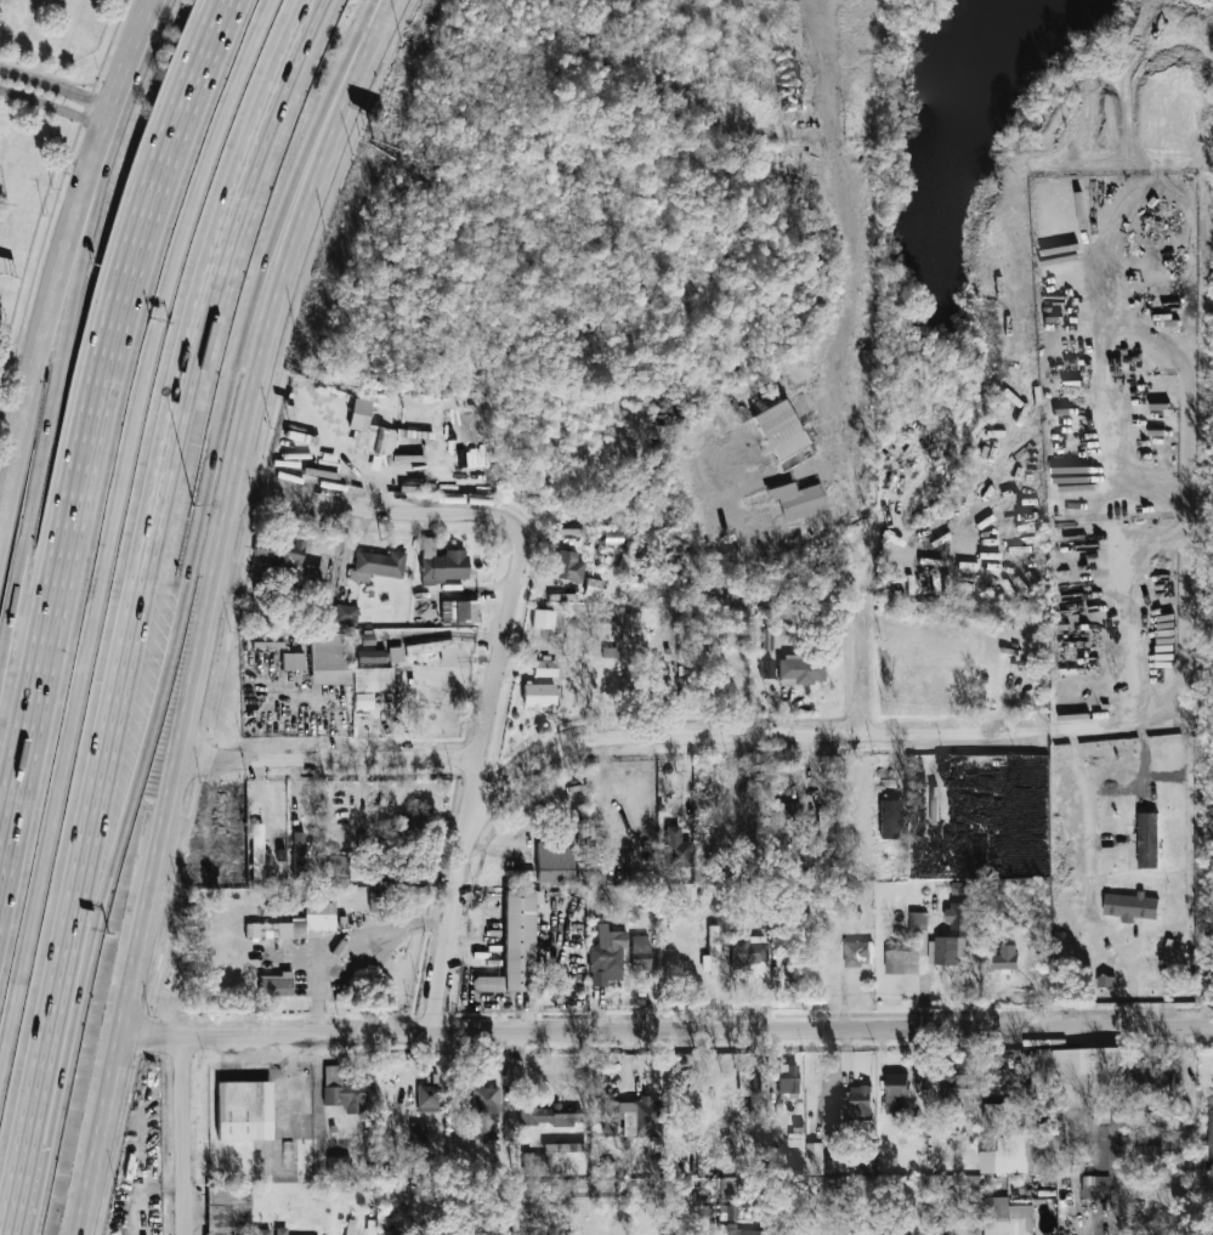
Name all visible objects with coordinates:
parking lot: (0, 4)
road: (132, 61)
road: (57, 87)
road: (55, 107)
road: (828, 114)
park: (36, 118)
road: (100, 143)
road: (108, 146)
road: (793, 172)
road: (40, 356)
road: (846, 372)
building: (412, 398)
road: (50, 414)
road: (81, 427)
building: (780, 430)
building: (370, 431)
road: (714, 471)
building: (798, 500)
road: (395, 511)
road: (120, 540)
building: (278, 553)
building: (441, 563)
building: (378, 565)
building: (569, 566)
building: (312, 576)
road: (1117, 582)
road: (211, 608)
road: (138, 610)
road: (178, 610)
building: (459, 612)
building: (346, 613)
building: (543, 619)
road: (872, 628)
building: (435, 650)
building: (396, 655)
building: (372, 656)
building: (1072, 657)
building: (330, 658)
building: (293, 662)
building: (545, 667)
building: (766, 668)
building: (654, 669)
building: (800, 669)
building: (374, 684)
building: (539, 696)
road: (738, 738)
road: (330, 759)
road: (470, 799)
road: (1087, 811)
building: (782, 812)
building: (890, 818)
building: (413, 827)
building: (1147, 839)
building: (257, 844)
building: (678, 849)
building: (555, 861)
building: (336, 869)
building: (376, 901)
building: (1130, 906)
building: (317, 913)
building: (960, 917)
building: (918, 920)
building: (516, 945)
building: (948, 951)
building: (640, 952)
building: (712, 952)
road: (351, 953)
building: (857, 953)
building: (749, 954)
building: (607, 956)
building: (1007, 957)
building: (895, 962)
building: (276, 985)
road: (669, 1035)
building: (1082, 1077)
building: (788, 1081)
building: (1154, 1081)
building: (744, 1083)
building: (895, 1089)
building: (345, 1092)
building: (959, 1094)
building: (429, 1098)
building: (484, 1101)
building: (852, 1103)
building: (244, 1110)
building: (546, 1115)
building: (608, 1117)
building: (641, 1118)
building: (418, 1135)
building: (795, 1135)
building: (1005, 1137)
road: (182, 1138)
building: (1211, 1143)
building: (565, 1148)
building: (1164, 1150)
building: (1047, 1151)
building: (814, 1158)
building: (338, 1163)
building: (535, 1165)
building: (721, 1185)
building: (1098, 1186)
building: (939, 1202)
building: (227, 1208)
building: (730, 1213)
building: (1007, 1217)
building: (935, 1228)
building: (729, 1229)
building: (270, 1231)
building: (389, 1233)
building: (906, 1234)

